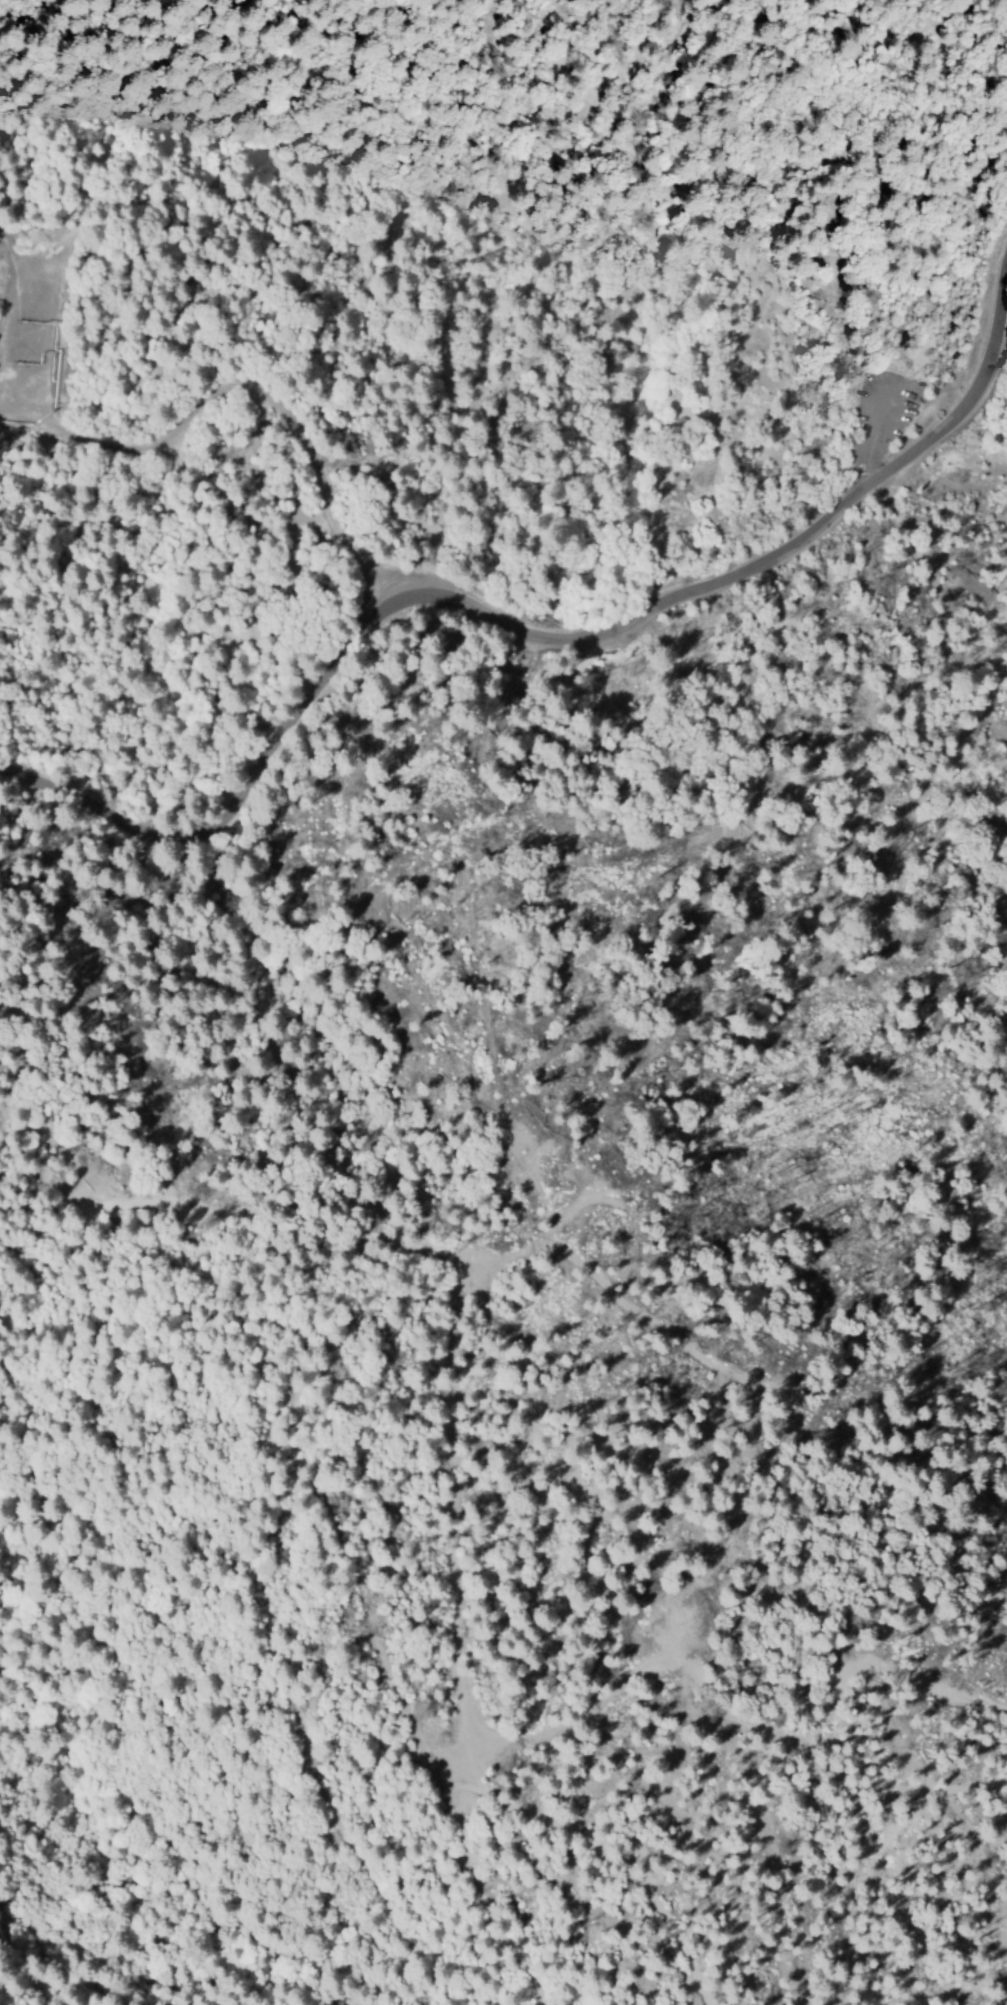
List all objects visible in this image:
road: (858, 286)
road: (983, 357)
road: (247, 405)
road: (424, 616)
road: (727, 1737)

